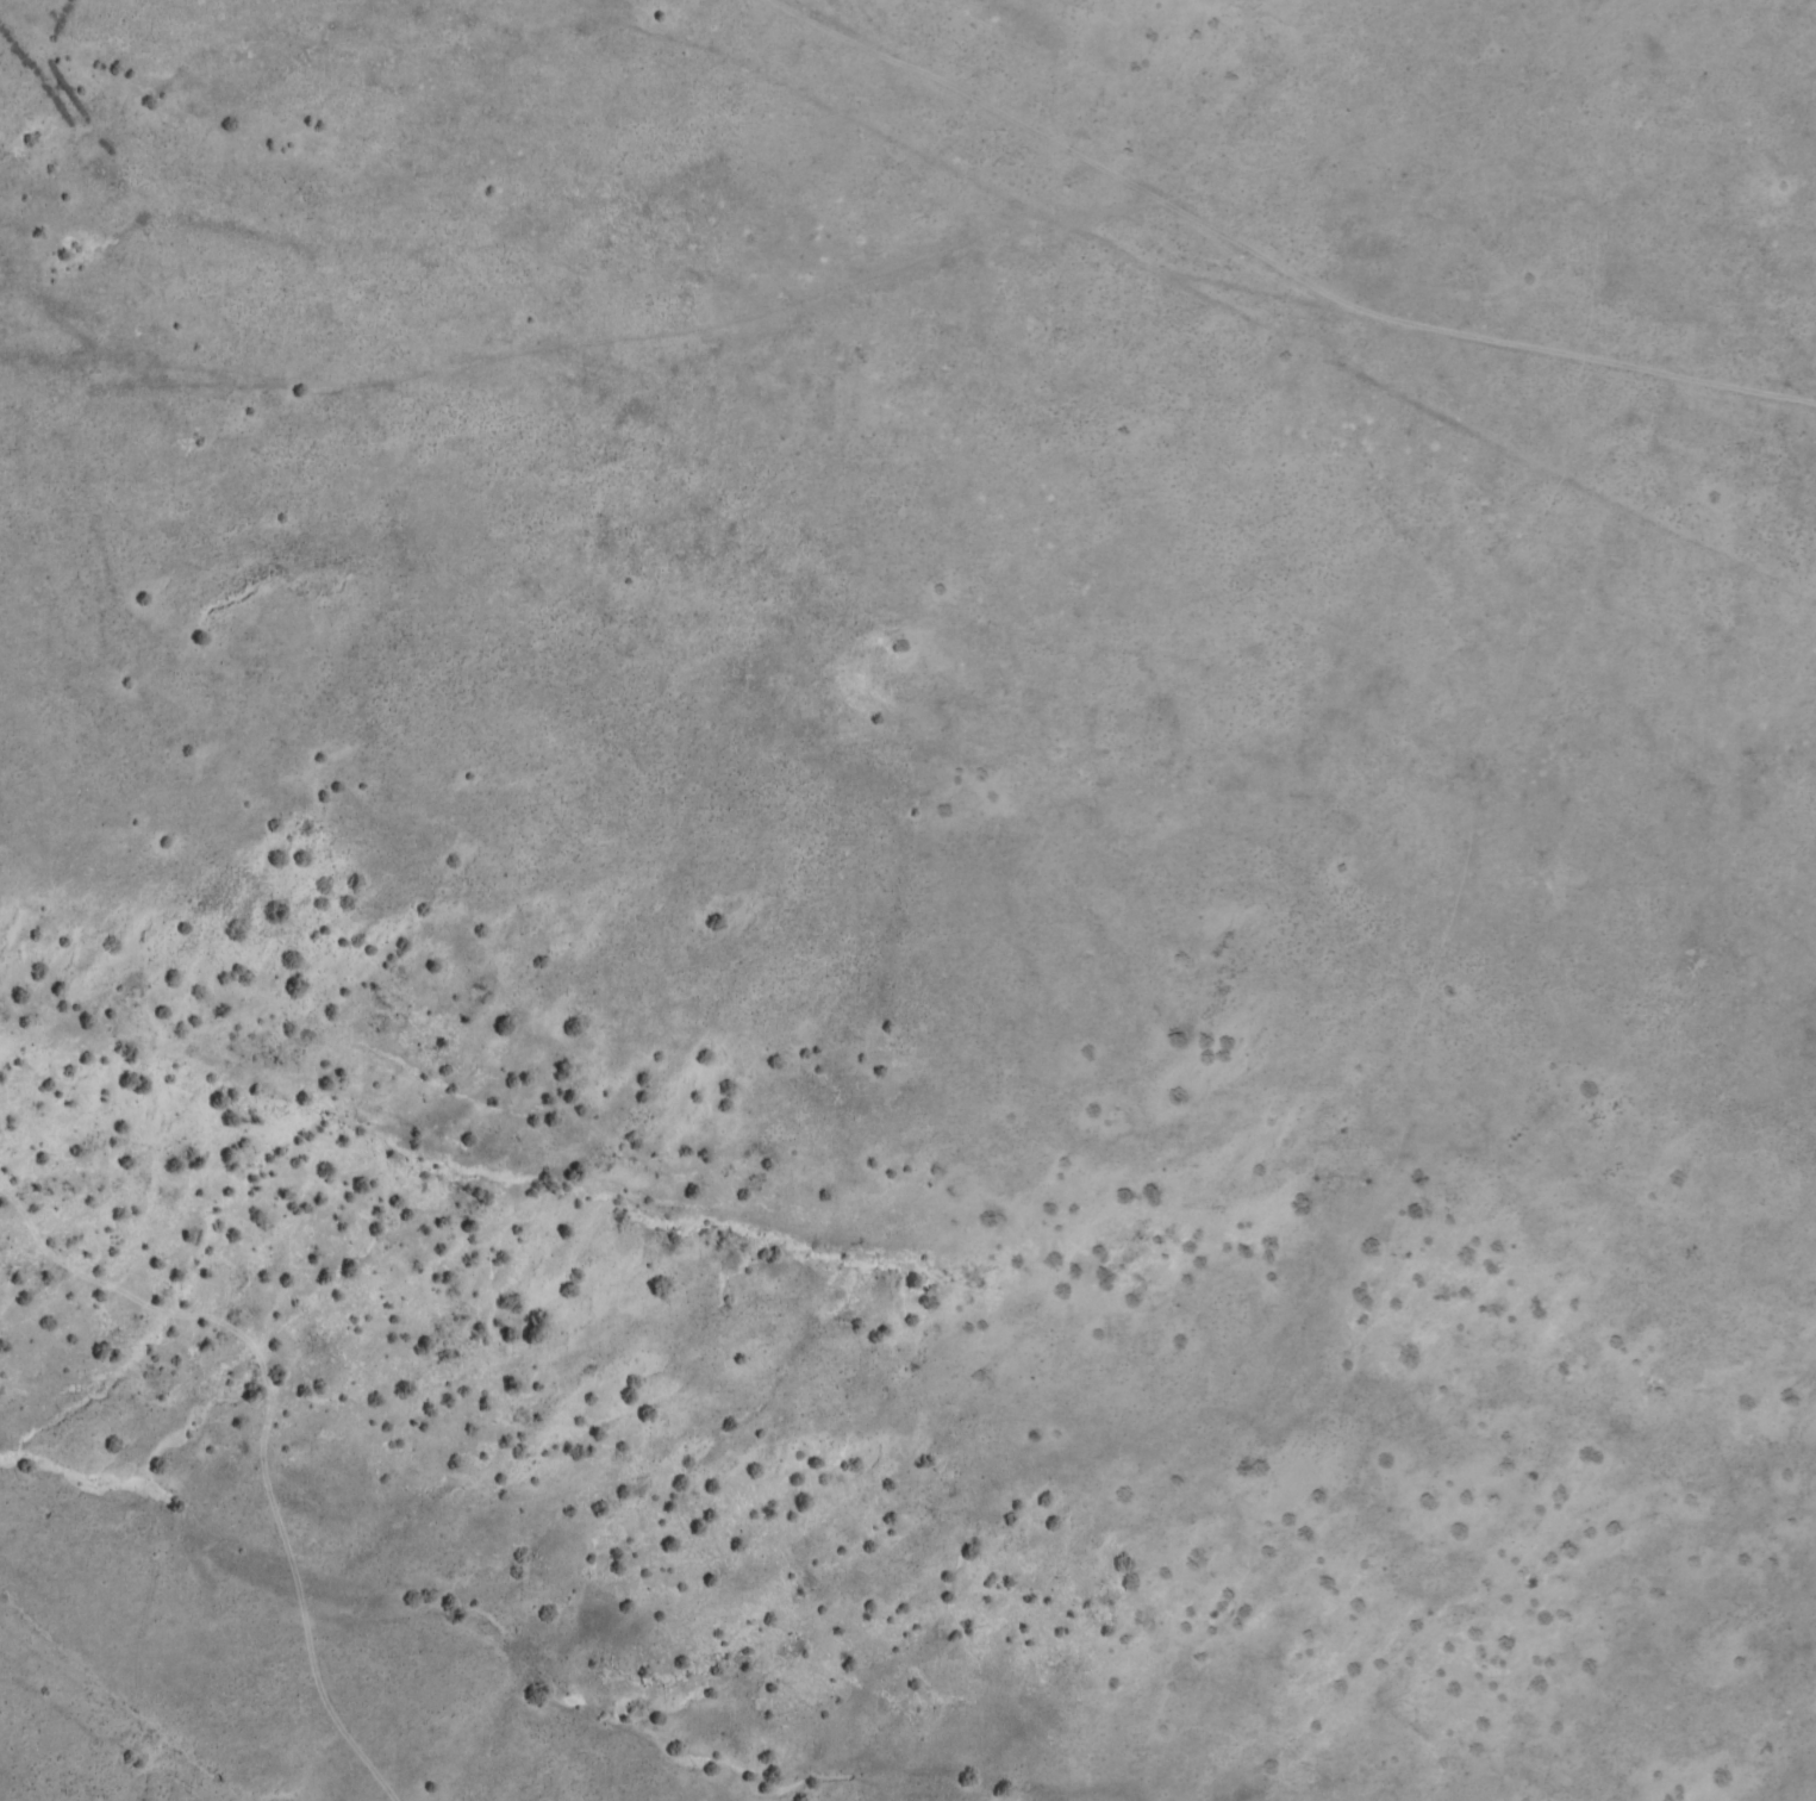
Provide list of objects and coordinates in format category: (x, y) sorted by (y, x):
road: (139, 1670)

